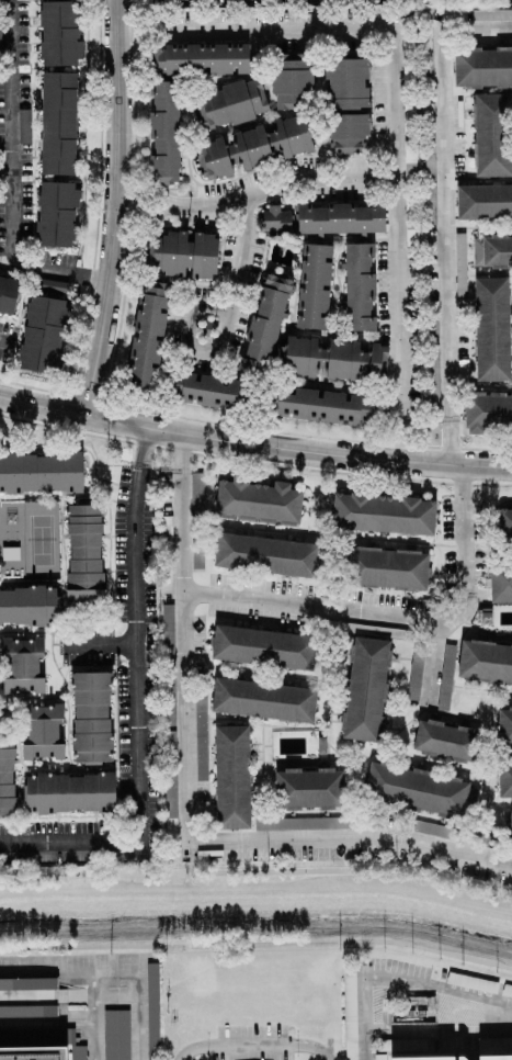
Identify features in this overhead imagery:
building: (491, 14)
building: (59, 33)
building: (481, 67)
building: (292, 81)
building: (346, 103)
building: (229, 104)
road: (394, 105)
building: (58, 123)
building: (23, 125)
building: (492, 135)
building: (163, 147)
building: (251, 147)
building: (409, 157)
road: (4, 178)
road: (10, 179)
road: (445, 190)
road: (258, 192)
building: (483, 203)
road: (116, 207)
building: (56, 214)
building: (340, 218)
building: (275, 221)
road: (95, 230)
building: (491, 251)
building: (181, 255)
building: (314, 285)
building: (359, 286)
building: (8, 294)
road: (223, 328)
building: (44, 330)
building: (491, 330)
building: (147, 336)
building: (259, 341)
road: (3, 343)
building: (330, 358)
road: (110, 402)
building: (321, 406)
building: (487, 413)
road: (447, 439)
road: (253, 441)
road: (147, 446)
road: (184, 451)
road: (254, 462)
building: (41, 473)
building: (258, 501)
building: (384, 515)
building: (508, 527)
road: (462, 529)
park: (12, 540)
park: (41, 540)
building: (84, 554)
building: (166, 554)
building: (263, 554)
building: (387, 567)
building: (500, 584)
road: (311, 604)
building: (26, 606)
road: (107, 639)
road: (432, 644)
building: (263, 650)
building: (485, 662)
building: (21, 666)
building: (414, 673)
building: (445, 677)
building: (365, 688)
building: (263, 701)
building: (90, 717)
road: (139, 724)
building: (505, 726)
building: (43, 732)
building: (444, 742)
building: (201, 749)
building: (232, 777)
building: (505, 780)
building: (7, 781)
building: (307, 788)
building: (417, 791)
building: (68, 792)
road: (187, 816)
building: (509, 828)
building: (446, 832)
road: (257, 876)
road: (257, 941)
road: (55, 972)
road: (398, 981)
building: (27, 983)
building: (507, 991)
road: (67, 999)
building: (151, 1007)
road: (135, 1010)
building: (32, 1011)
building: (350, 1015)
road: (91, 1016)
road: (45, 1026)
building: (116, 1035)
building: (403, 1045)
road: (250, 1046)
building: (32, 1053)
building: (379, 1057)
building: (494, 1057)
building: (425, 1058)

